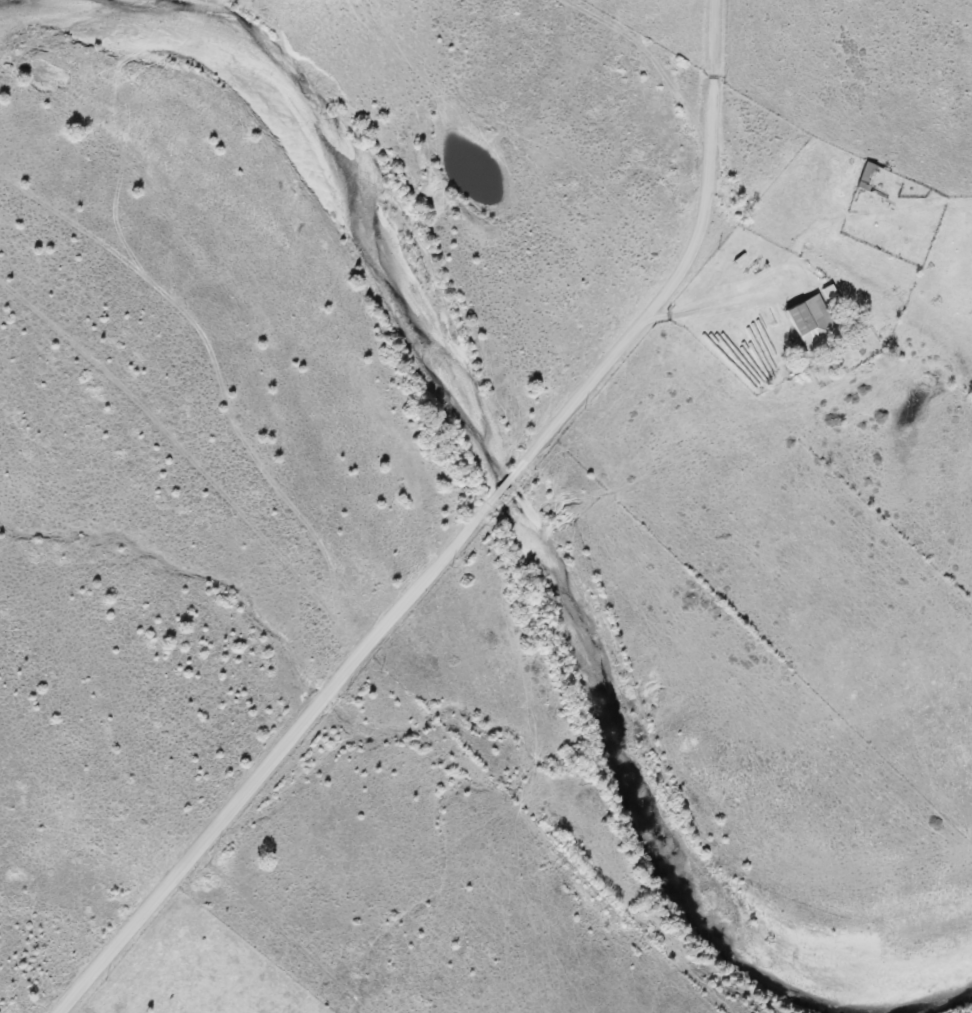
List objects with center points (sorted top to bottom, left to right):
road: (687, 272)
road: (718, 304)
building: (811, 322)
road: (498, 494)
road: (271, 755)

